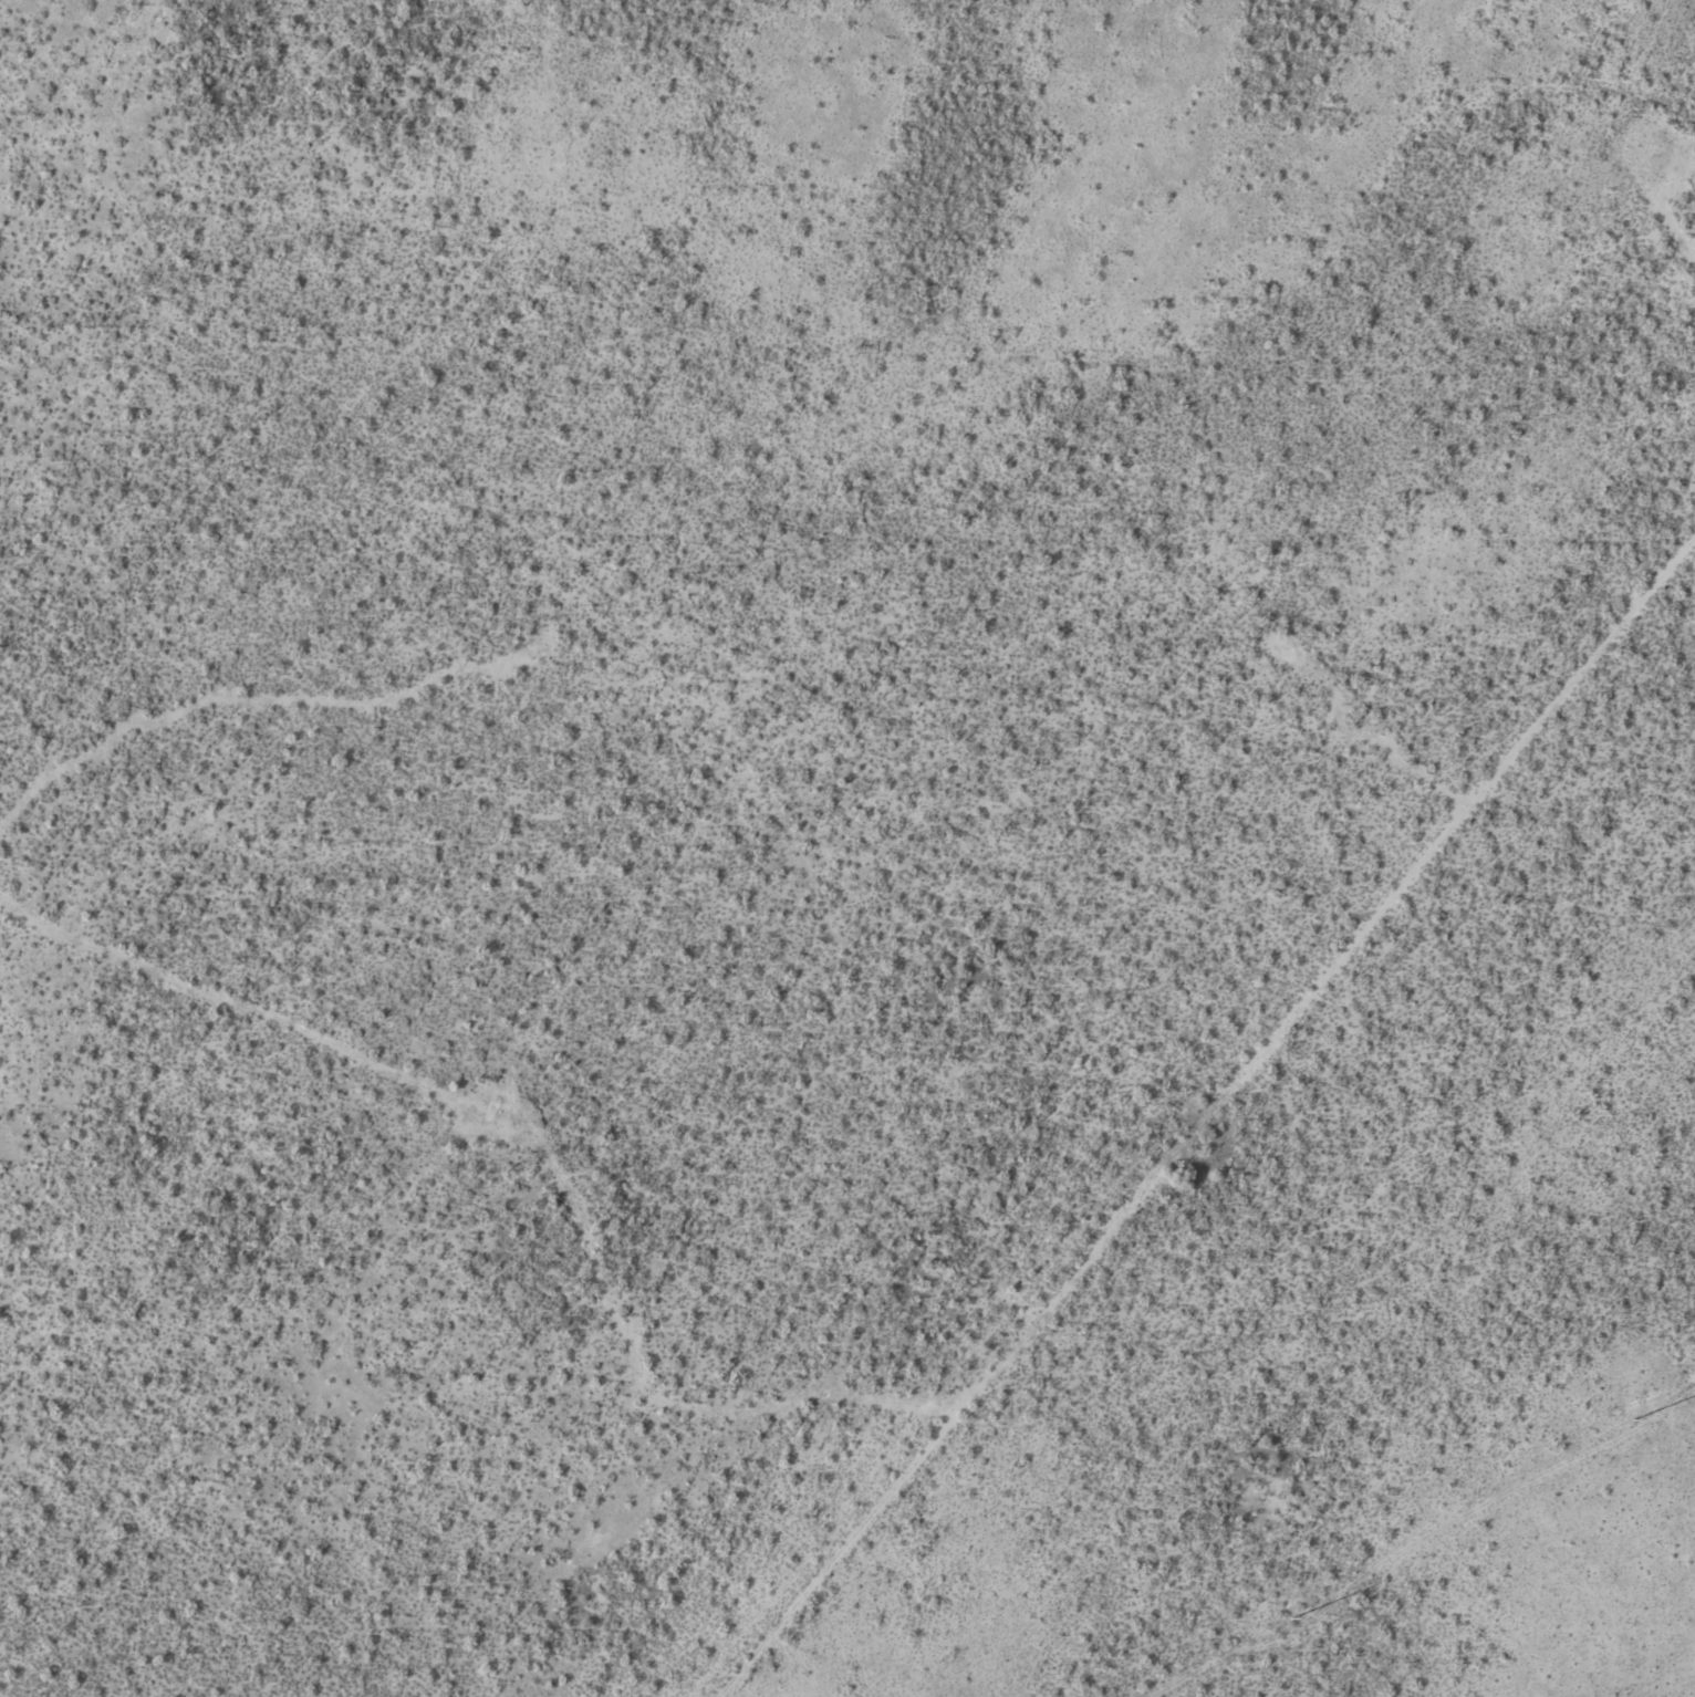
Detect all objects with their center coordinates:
power tower: (1633, 1420)
power tower: (1290, 1617)

